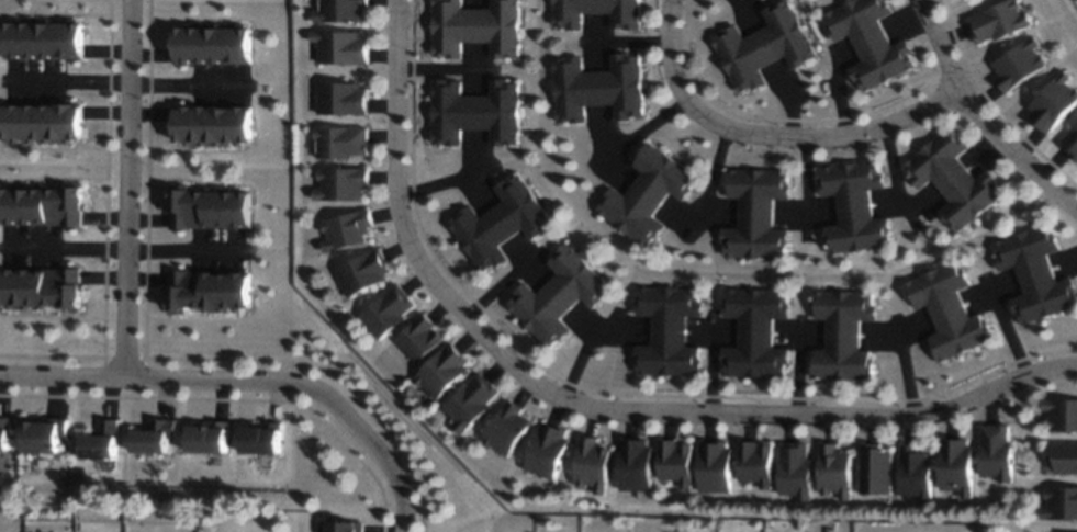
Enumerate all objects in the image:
building: (344, 10)
building: (597, 12)
building: (1003, 23)
building: (475, 29)
building: (47, 39)
road: (628, 39)
building: (874, 44)
building: (212, 45)
building: (345, 46)
building: (770, 48)
building: (1024, 66)
road: (440, 68)
road: (65, 81)
road: (181, 83)
building: (602, 90)
building: (344, 98)
building: (1058, 102)
building: (474, 114)
road: (979, 115)
building: (44, 123)
building: (211, 126)
road: (644, 128)
road: (770, 135)
building: (343, 142)
building: (1070, 144)
road: (711, 173)
building: (957, 180)
road: (441, 181)
building: (343, 183)
road: (124, 188)
building: (651, 195)
building: (41, 205)
building: (853, 207)
building: (207, 208)
building: (756, 216)
building: (505, 225)
building: (349, 230)
road: (122, 248)
building: (362, 274)
building: (1037, 274)
road: (501, 283)
building: (46, 287)
building: (206, 291)
building: (561, 295)
building: (389, 310)
building: (950, 313)
building: (672, 331)
building: (759, 333)
building: (845, 337)
building: (422, 338)
building: (445, 372)
road: (249, 380)
building: (472, 400)
road: (590, 406)
building: (1059, 415)
building: (511, 428)
building: (49, 439)
building: (262, 440)
building: (210, 441)
building: (7, 443)
building: (154, 443)
building: (103, 445)
building: (550, 451)
building: (998, 452)
building: (1062, 457)
building: (756, 462)
building: (593, 463)
building: (635, 464)
building: (676, 466)
building: (717, 467)
building: (957, 467)
building: (917, 469)
building: (797, 471)
building: (837, 471)
building: (877, 472)
building: (1059, 502)
building: (349, 528)

